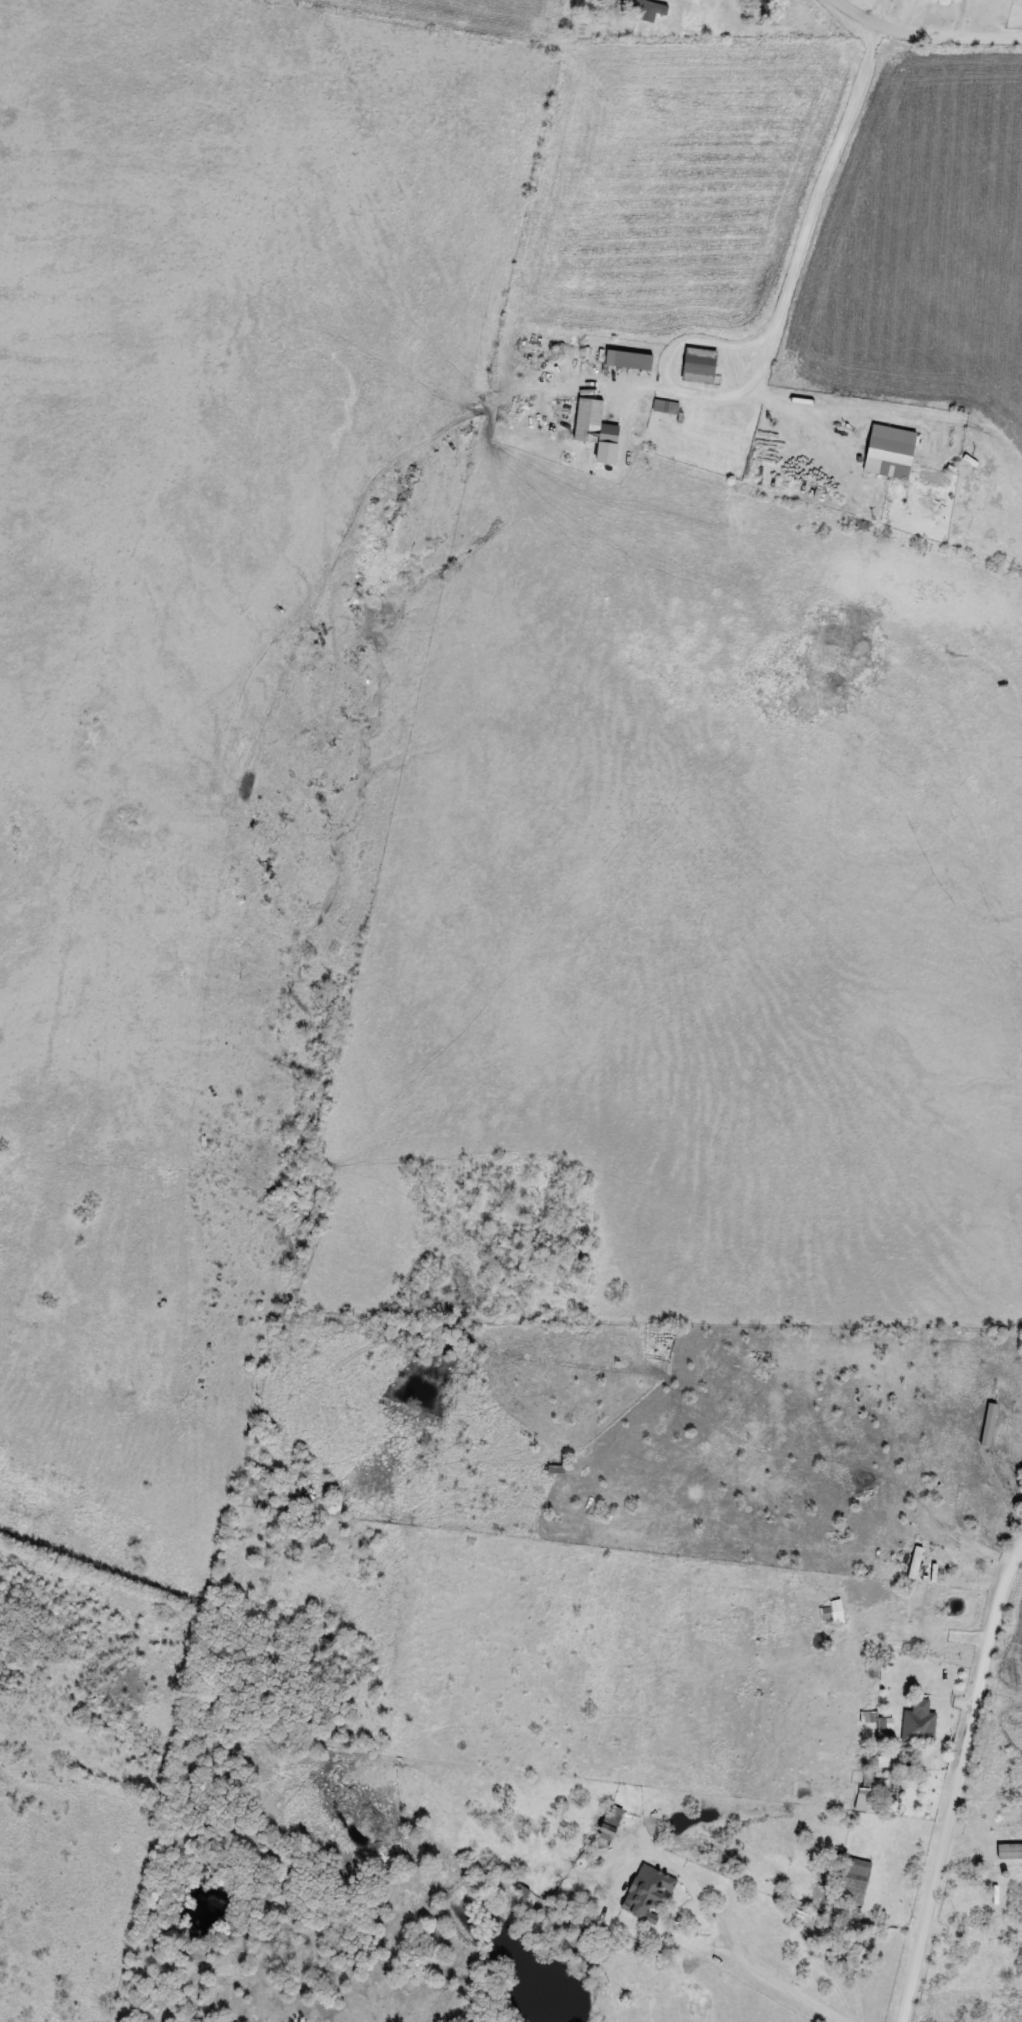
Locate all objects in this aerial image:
road: (877, 9)
road: (911, 13)
road: (962, 17)
road: (921, 30)
road: (1015, 38)
road: (866, 79)
road: (799, 262)
building: (631, 361)
building: (701, 366)
road: (675, 385)
building: (665, 407)
building: (594, 424)
building: (892, 452)
building: (556, 1470)
road: (929, 1592)
building: (882, 1728)
building: (921, 1728)
road: (958, 1784)
road: (1020, 1832)
road: (1001, 1837)
road: (1004, 1869)
building: (855, 1881)
building: (650, 1892)
road: (774, 1975)

